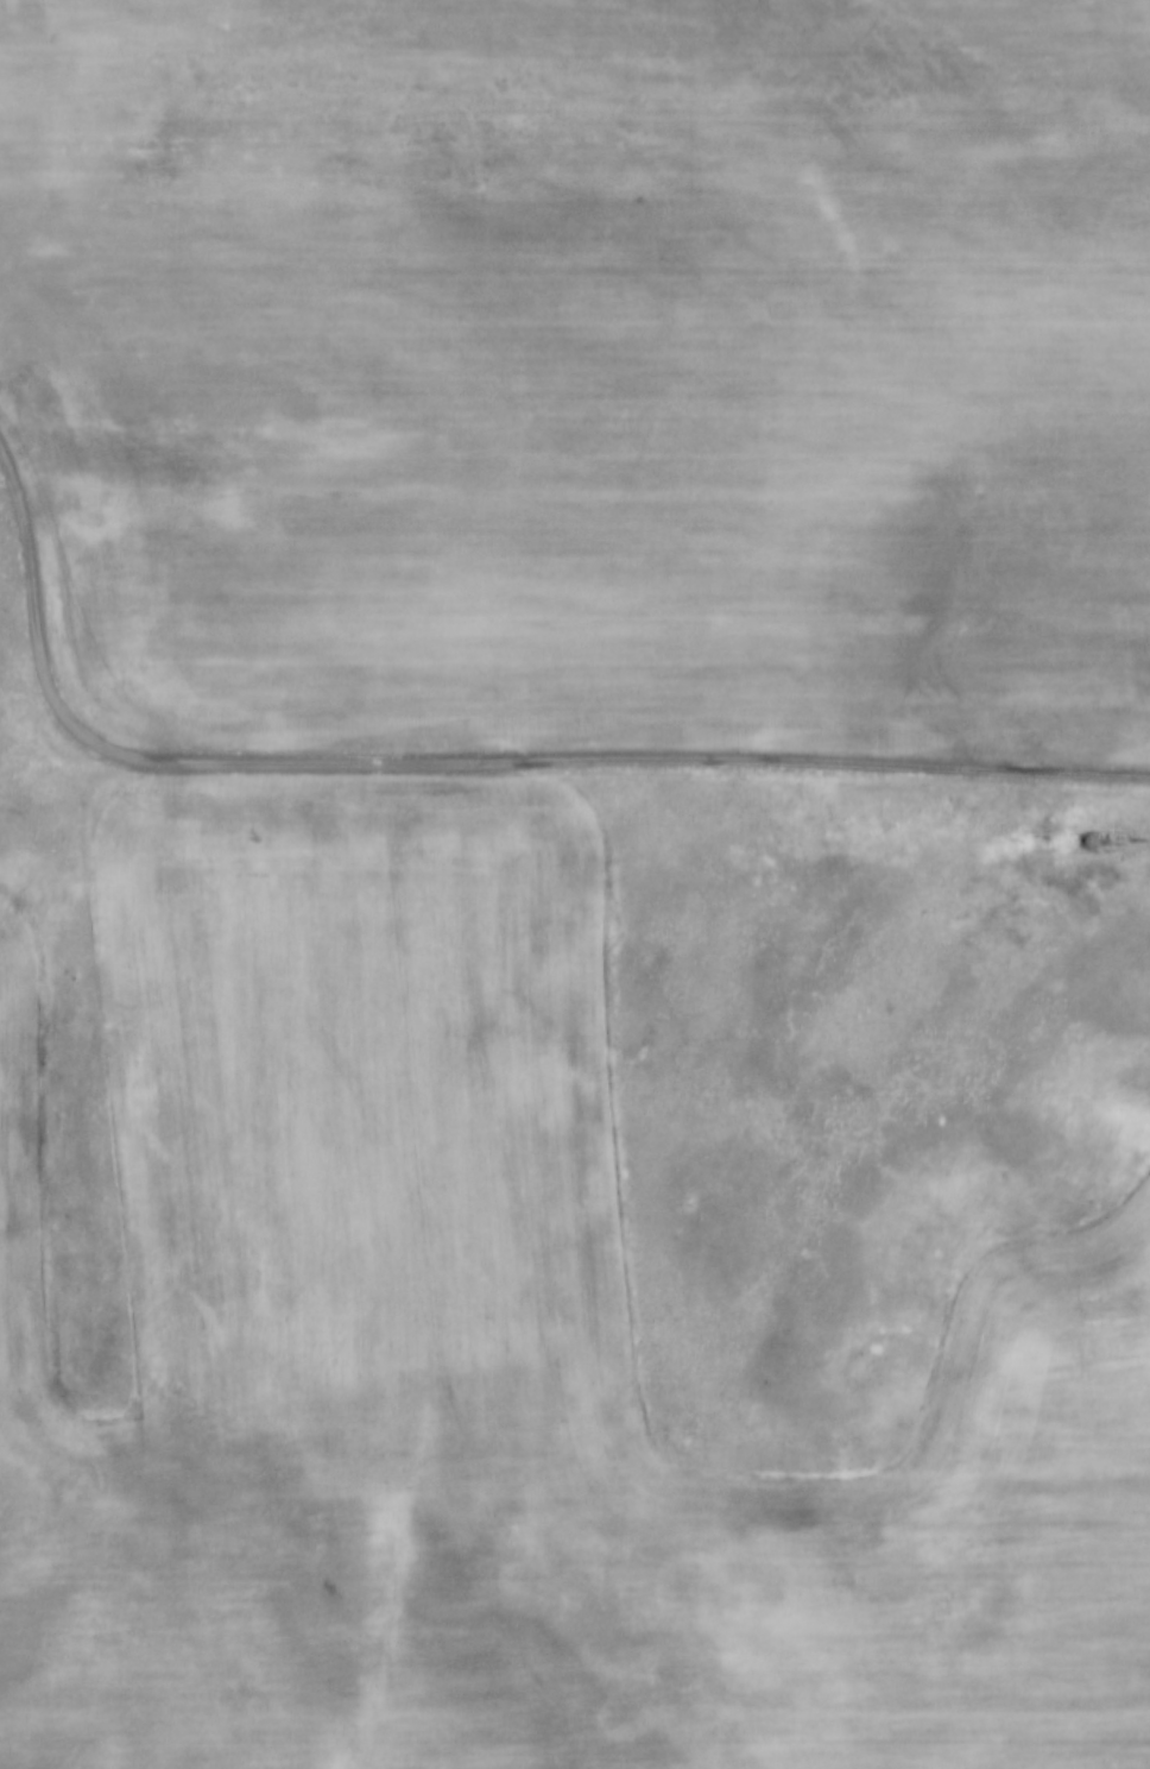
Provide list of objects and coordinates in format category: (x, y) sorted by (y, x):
road: (455, 768)

